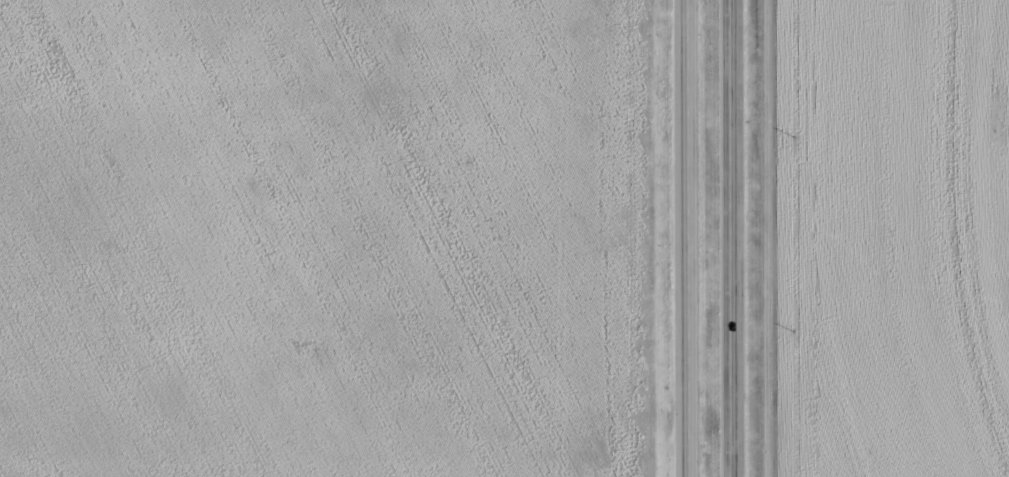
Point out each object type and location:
road: (690, 238)
road: (731, 238)

